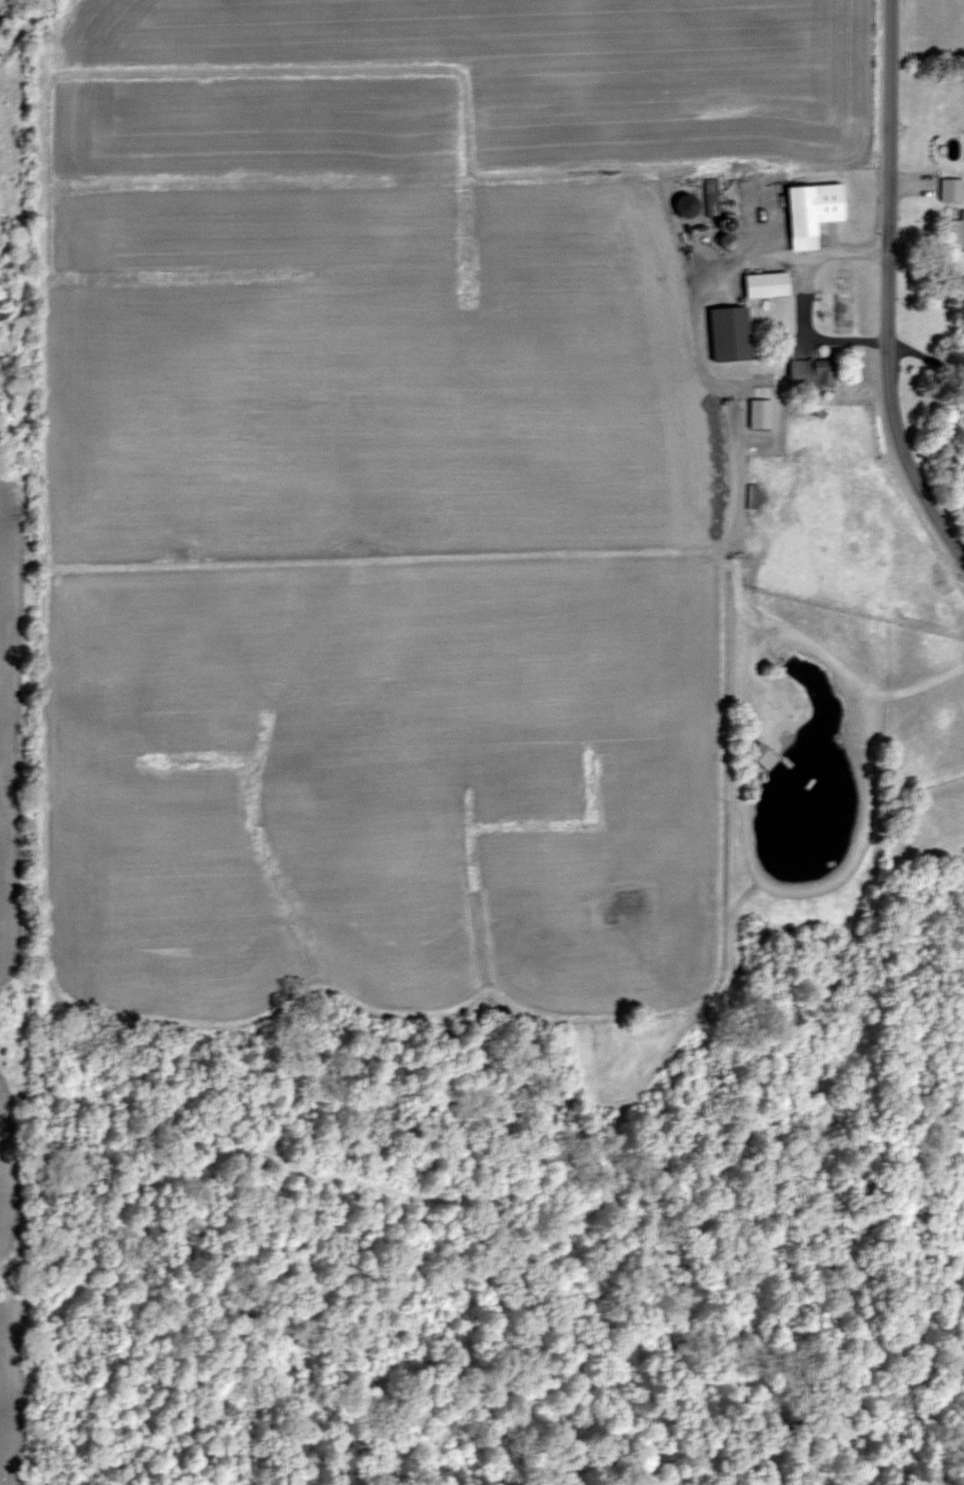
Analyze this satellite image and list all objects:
building: (953, 190)
building: (816, 213)
building: (962, 229)
building: (770, 285)
road: (885, 288)
road: (800, 296)
building: (734, 335)
building: (816, 374)
building: (755, 496)

